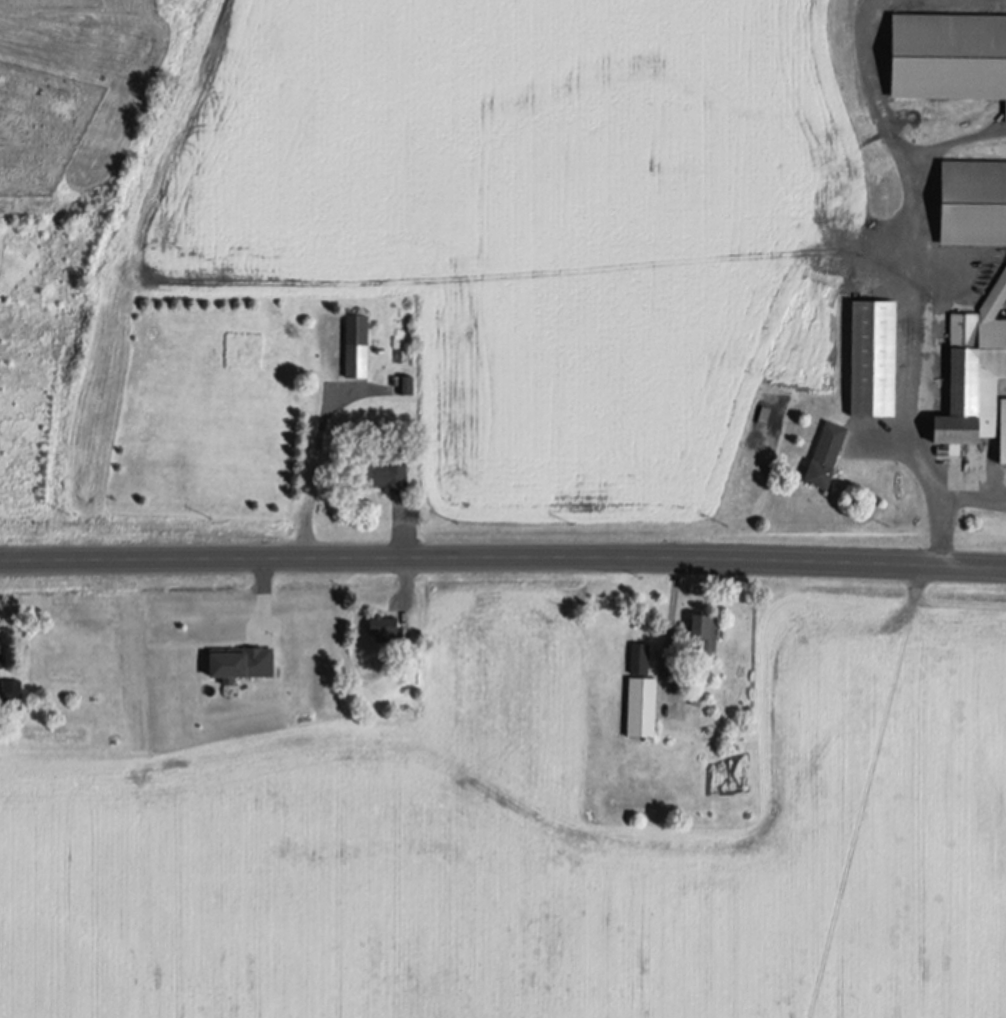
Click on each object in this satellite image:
building: (948, 51)
building: (972, 198)
road: (921, 343)
building: (356, 344)
building: (872, 354)
building: (973, 371)
building: (407, 383)
building: (1003, 427)
building: (825, 452)
building: (385, 470)
road: (314, 473)
road: (954, 504)
road: (503, 554)
road: (671, 613)
building: (382, 625)
building: (704, 629)
building: (0, 631)
building: (639, 653)
building: (0, 658)
building: (241, 661)
building: (12, 693)
building: (695, 701)
building: (641, 706)
crop: (542, 843)

